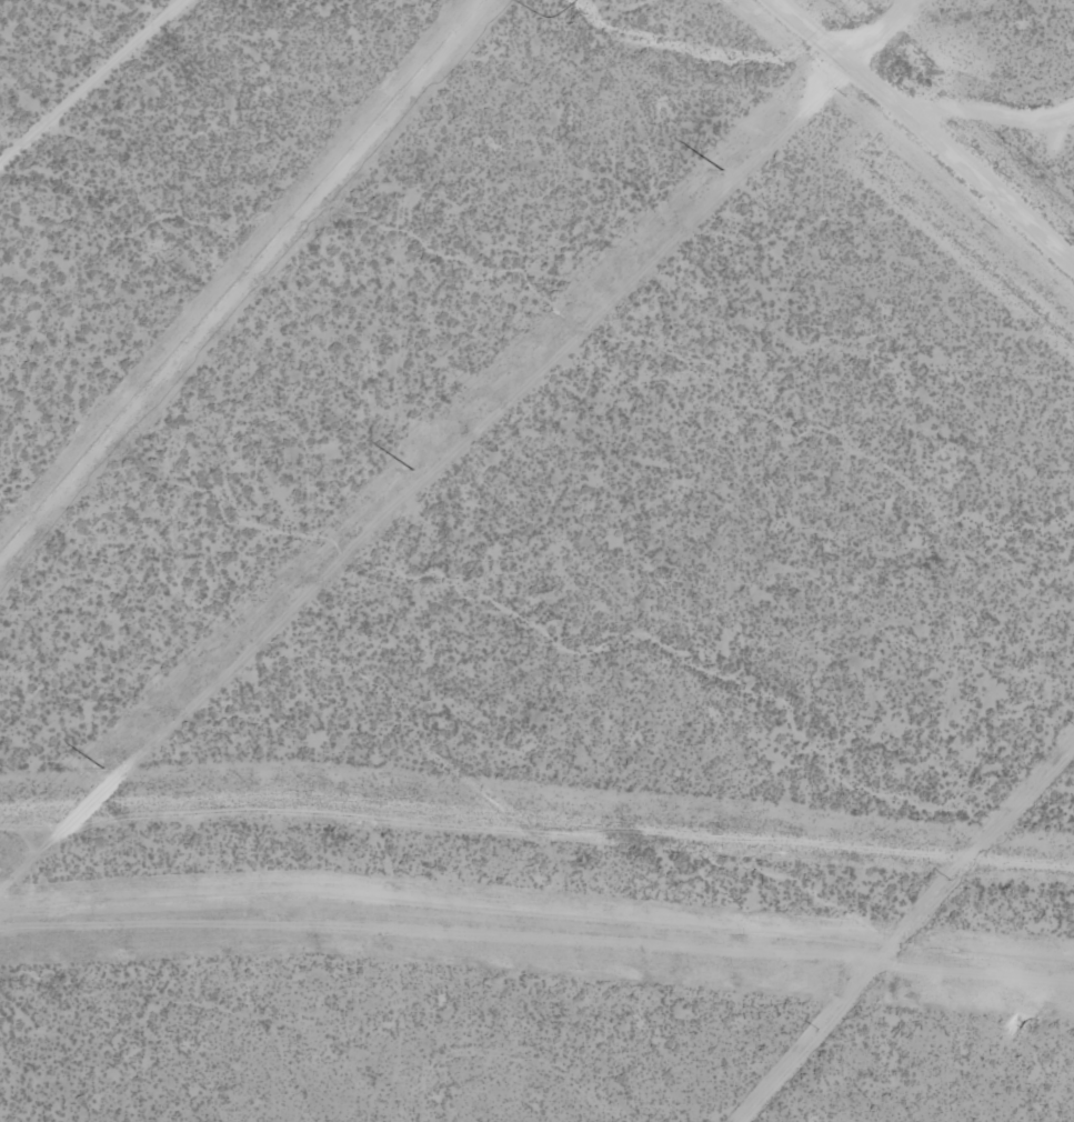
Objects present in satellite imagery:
road: (922, 134)

